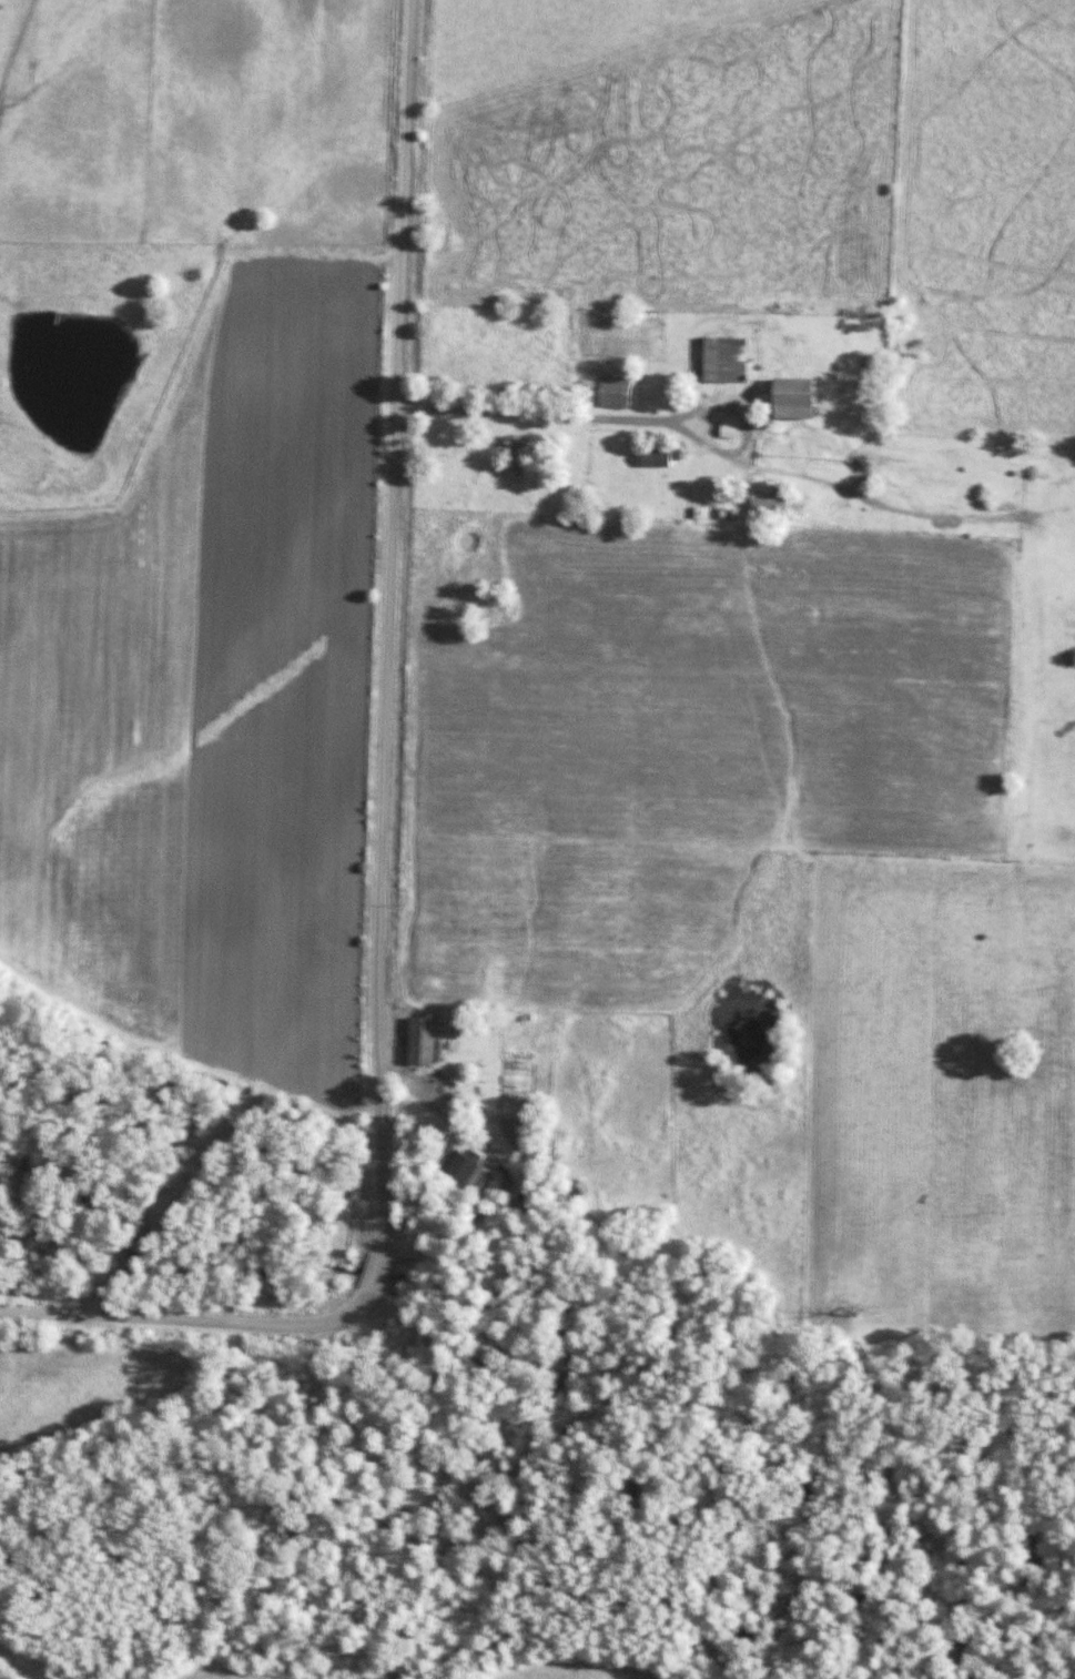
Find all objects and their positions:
road: (202, 253)
building: (723, 360)
building: (616, 392)
building: (784, 398)
road: (546, 412)
building: (728, 429)
building: (516, 454)
building: (660, 458)
building: (765, 505)
road: (393, 529)
building: (420, 1040)
road: (311, 1319)

